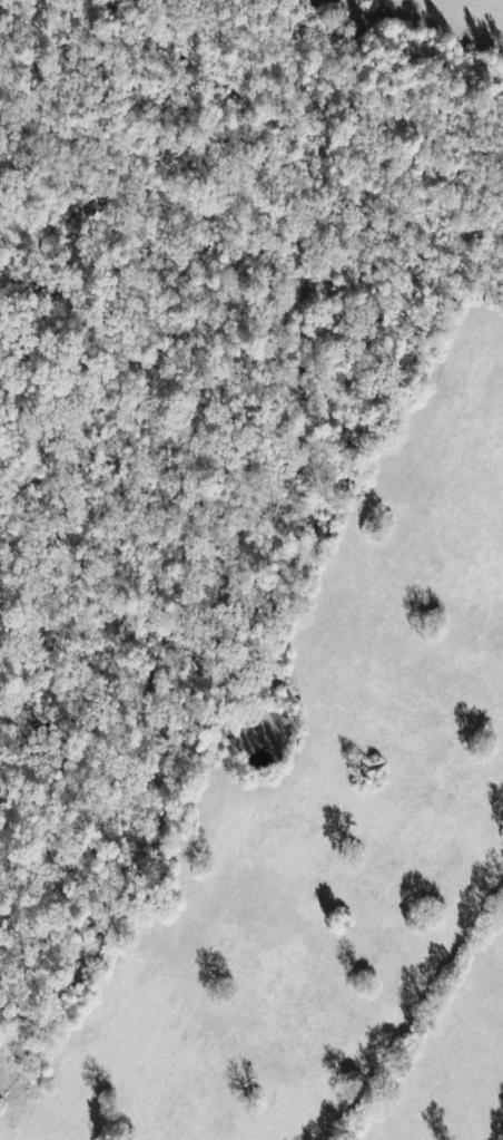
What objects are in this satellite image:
road: (435, 1042)

